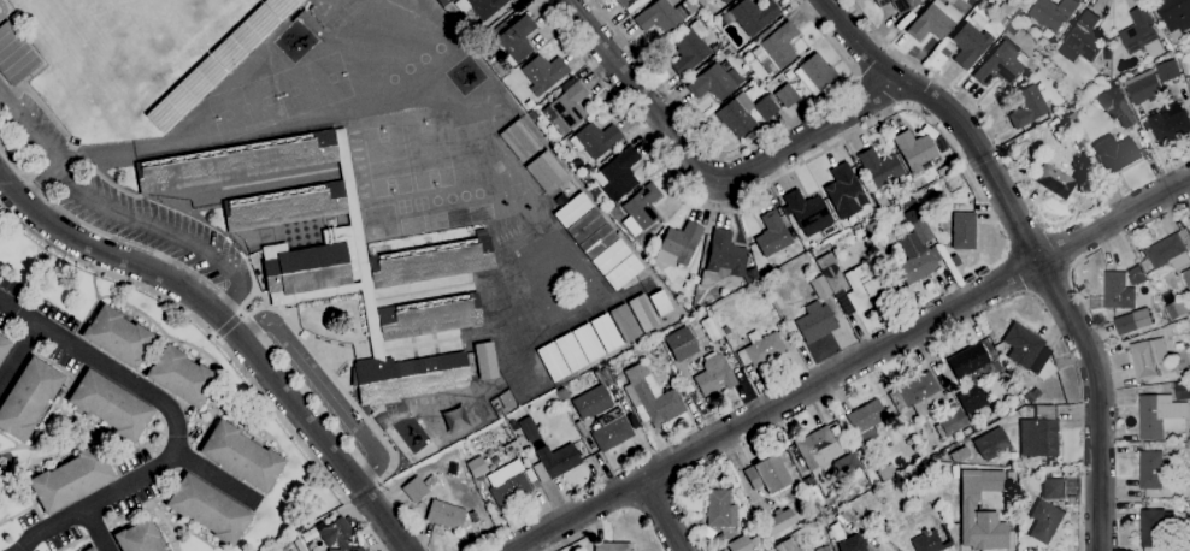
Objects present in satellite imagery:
building: (725, 0)
building: (443, 1)
building: (625, 2)
building: (900, 4)
building: (481, 6)
building: (980, 6)
building: (1003, 7)
building: (664, 14)
building: (750, 14)
building: (1053, 14)
building: (1174, 14)
building: (977, 19)
building: (933, 20)
building: (1005, 23)
building: (1013, 30)
building: (1141, 34)
building: (516, 40)
building: (1083, 40)
building: (968, 45)
building: (689, 47)
building: (715, 48)
building: (776, 48)
building: (14, 55)
building: (217, 60)
building: (1001, 64)
road: (927, 70)
building: (1167, 71)
building: (543, 73)
building: (815, 73)
building: (714, 82)
building: (1142, 87)
building: (785, 95)
building: (766, 106)
building: (1027, 106)
building: (567, 107)
building: (1115, 107)
building: (736, 114)
building: (1170, 125)
building: (519, 140)
building: (595, 140)
road: (744, 144)
building: (914, 149)
building: (1115, 153)
park: (430, 154)
park: (388, 160)
building: (879, 167)
building: (546, 172)
building: (618, 173)
road: (705, 178)
building: (1055, 180)
road: (37, 182)
building: (844, 191)
parking lot: (117, 197)
building: (879, 200)
building: (909, 206)
building: (571, 207)
building: (641, 209)
road: (720, 209)
building: (807, 212)
road: (120, 214)
building: (584, 224)
building: (1189, 225)
building: (872, 226)
building: (962, 230)
building: (772, 233)
building: (596, 239)
road: (1029, 242)
building: (677, 244)
building: (915, 251)
building: (1171, 251)
building: (609, 254)
building: (338, 255)
building: (725, 260)
building: (955, 260)
building: (621, 269)
building: (830, 272)
building: (1186, 278)
road: (211, 286)
building: (820, 286)
building: (864, 290)
building: (1117, 292)
building: (660, 301)
building: (1177, 309)
building: (643, 312)
building: (815, 321)
building: (624, 322)
road: (229, 325)
building: (1125, 325)
road: (205, 326)
road: (231, 328)
building: (709, 328)
building: (606, 332)
building: (117, 336)
building: (588, 342)
building: (679, 344)
building: (4, 346)
building: (1025, 348)
building: (761, 349)
building: (570, 350)
road: (20, 356)
building: (1148, 359)
building: (485, 360)
building: (552, 360)
road: (850, 363)
building: (713, 374)
building: (972, 374)
building: (181, 375)
building: (607, 378)
road: (324, 385)
building: (1182, 390)
building: (917, 395)
building: (1030, 395)
building: (28, 397)
building: (653, 401)
building: (591, 402)
building: (110, 405)
building: (1160, 416)
building: (866, 420)
building: (950, 420)
road: (175, 422)
building: (977, 427)
building: (529, 428)
building: (966, 431)
building: (611, 432)
building: (1039, 433)
building: (1189, 436)
building: (991, 444)
building: (814, 445)
building: (513, 446)
building: (859, 452)
building: (959, 454)
building: (241, 456)
building: (554, 462)
building: (865, 463)
building: (846, 464)
building: (476, 466)
building: (1150, 470)
building: (885, 472)
building: (766, 474)
road: (218, 478)
building: (70, 479)
building: (431, 481)
building: (508, 484)
building: (979, 484)
building: (414, 488)
building: (1053, 488)
building: (813, 490)
building: (208, 509)
building: (719, 509)
building: (825, 509)
road: (360, 514)
road: (664, 514)
building: (446, 515)
building: (850, 519)
building: (778, 521)
building: (1044, 521)
building: (831, 522)
building: (1160, 528)
road: (99, 529)
building: (988, 529)
building: (815, 531)
building: (335, 532)
building: (137, 538)
building: (932, 540)
building: (743, 543)
building: (293, 545)
building: (787, 545)
building: (612, 546)
building: (90, 549)
building: (347, 549)
building: (823, 549)
building: (165, 550)
building: (762, 550)

